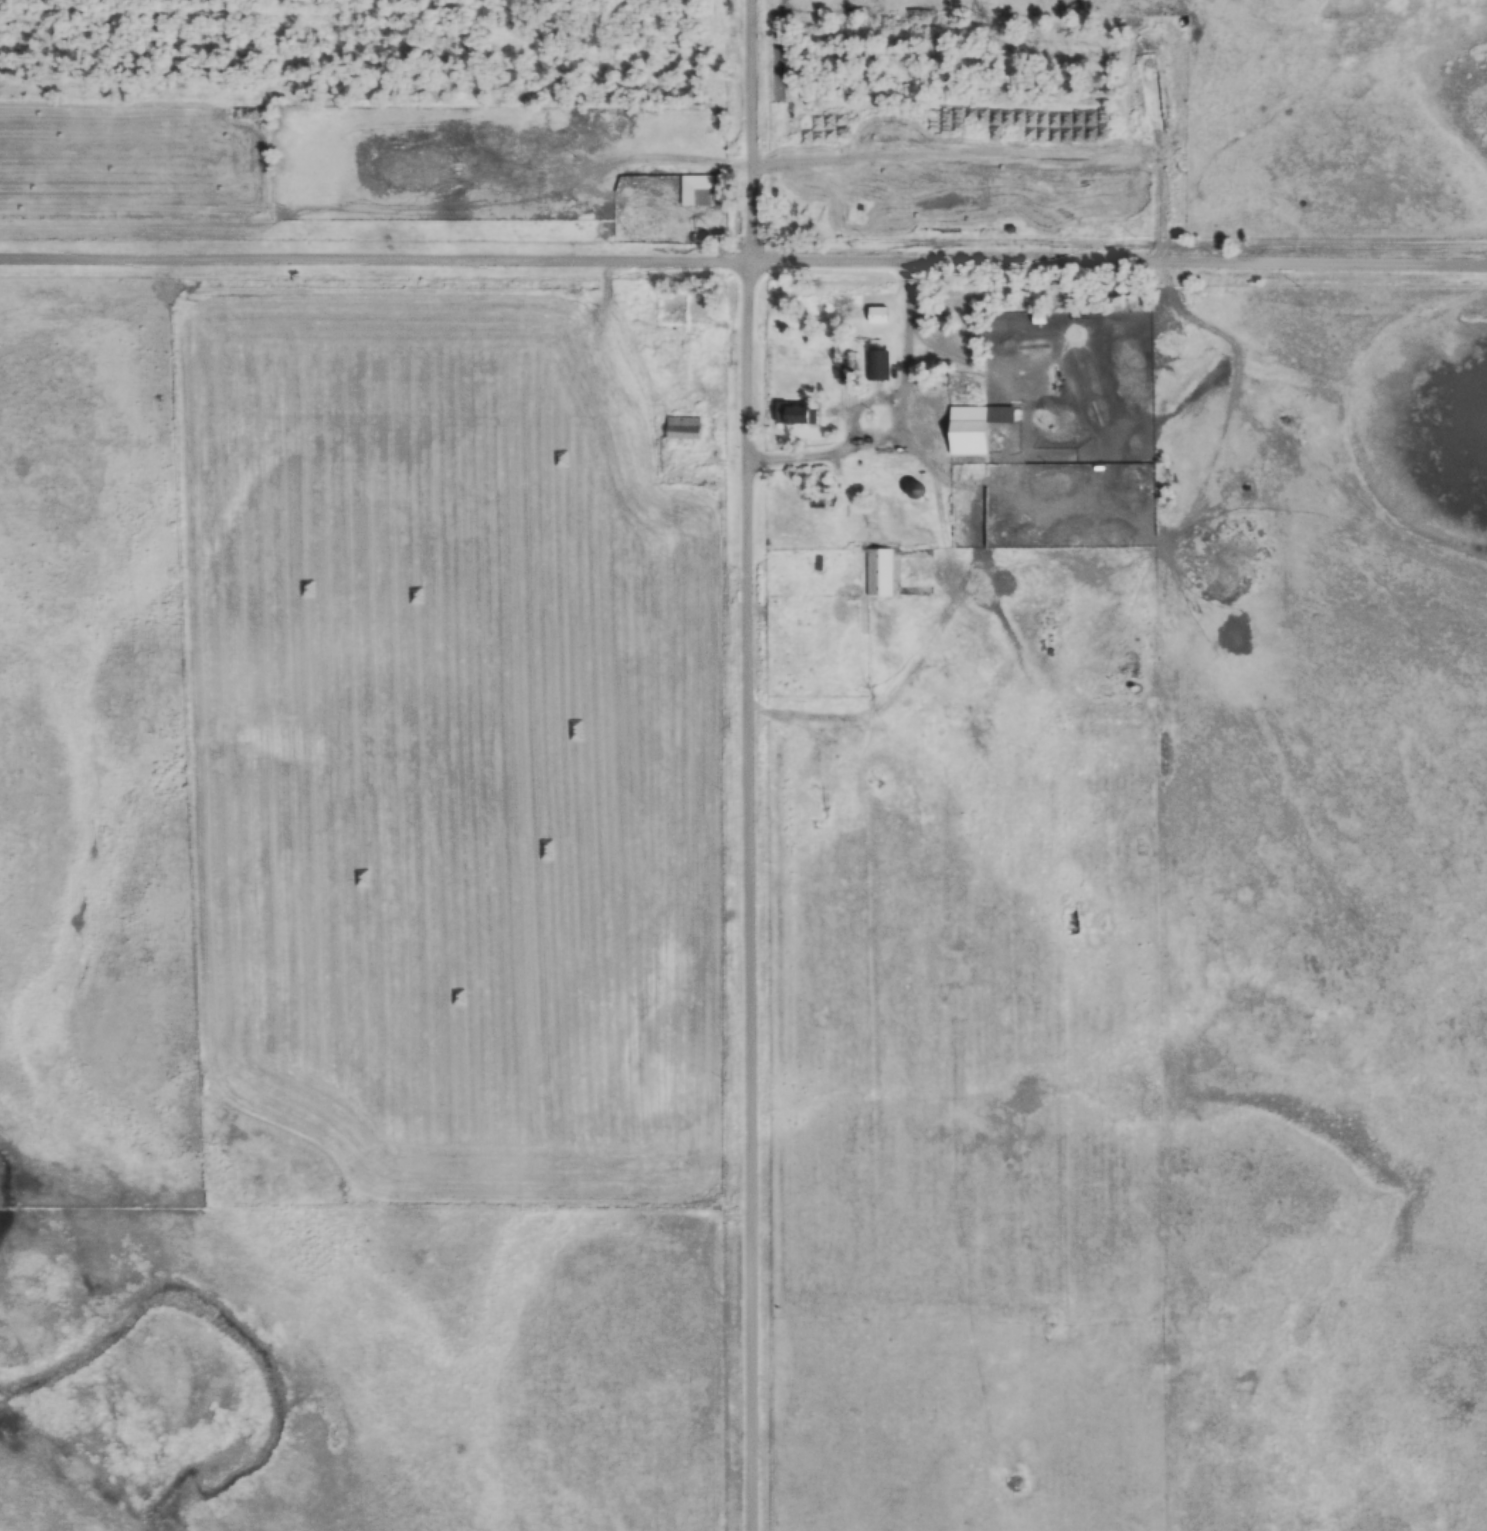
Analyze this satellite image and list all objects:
road: (752, 132)
building: (694, 190)
road: (742, 265)
building: (1111, 297)
building: (875, 314)
building: (876, 364)
building: (789, 413)
building: (972, 426)
building: (681, 427)
building: (913, 490)
building: (877, 571)
road: (754, 898)

